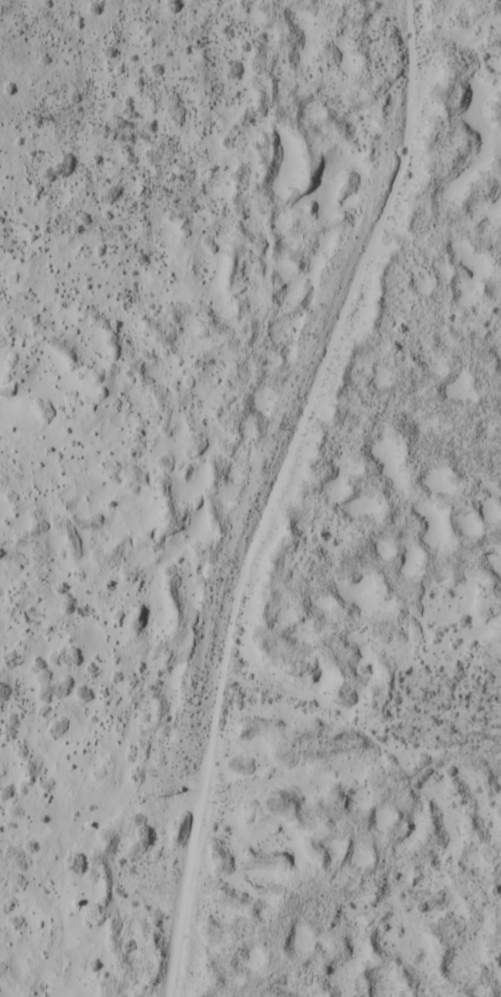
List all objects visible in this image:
road: (276, 489)
road: (345, 718)

